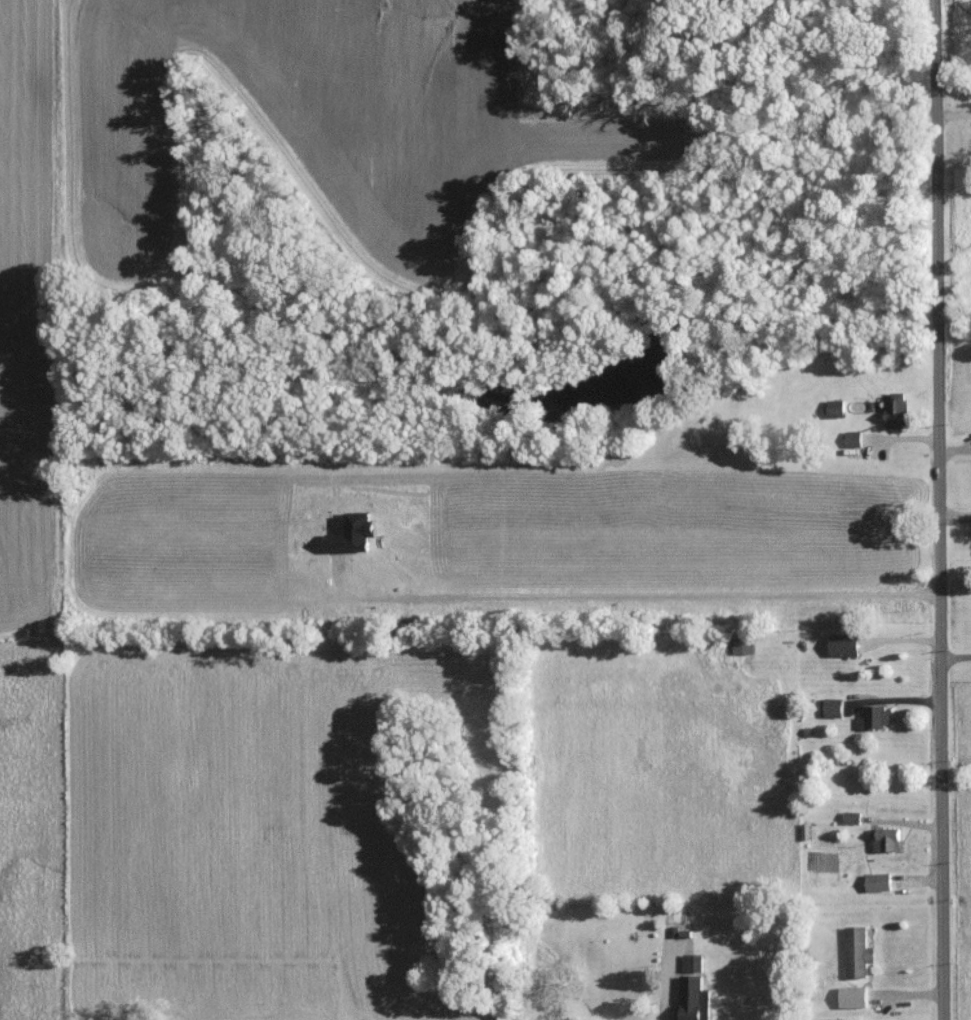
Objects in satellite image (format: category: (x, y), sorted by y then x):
building: (836, 408)
building: (896, 410)
building: (853, 438)
road: (932, 510)
road: (952, 514)
building: (844, 644)
building: (743, 645)
road: (952, 657)
building: (833, 706)
building: (875, 716)
building: (852, 817)
building: (886, 838)
building: (878, 881)
building: (858, 951)
building: (692, 962)
building: (853, 996)
road: (657, 999)
building: (692, 999)

